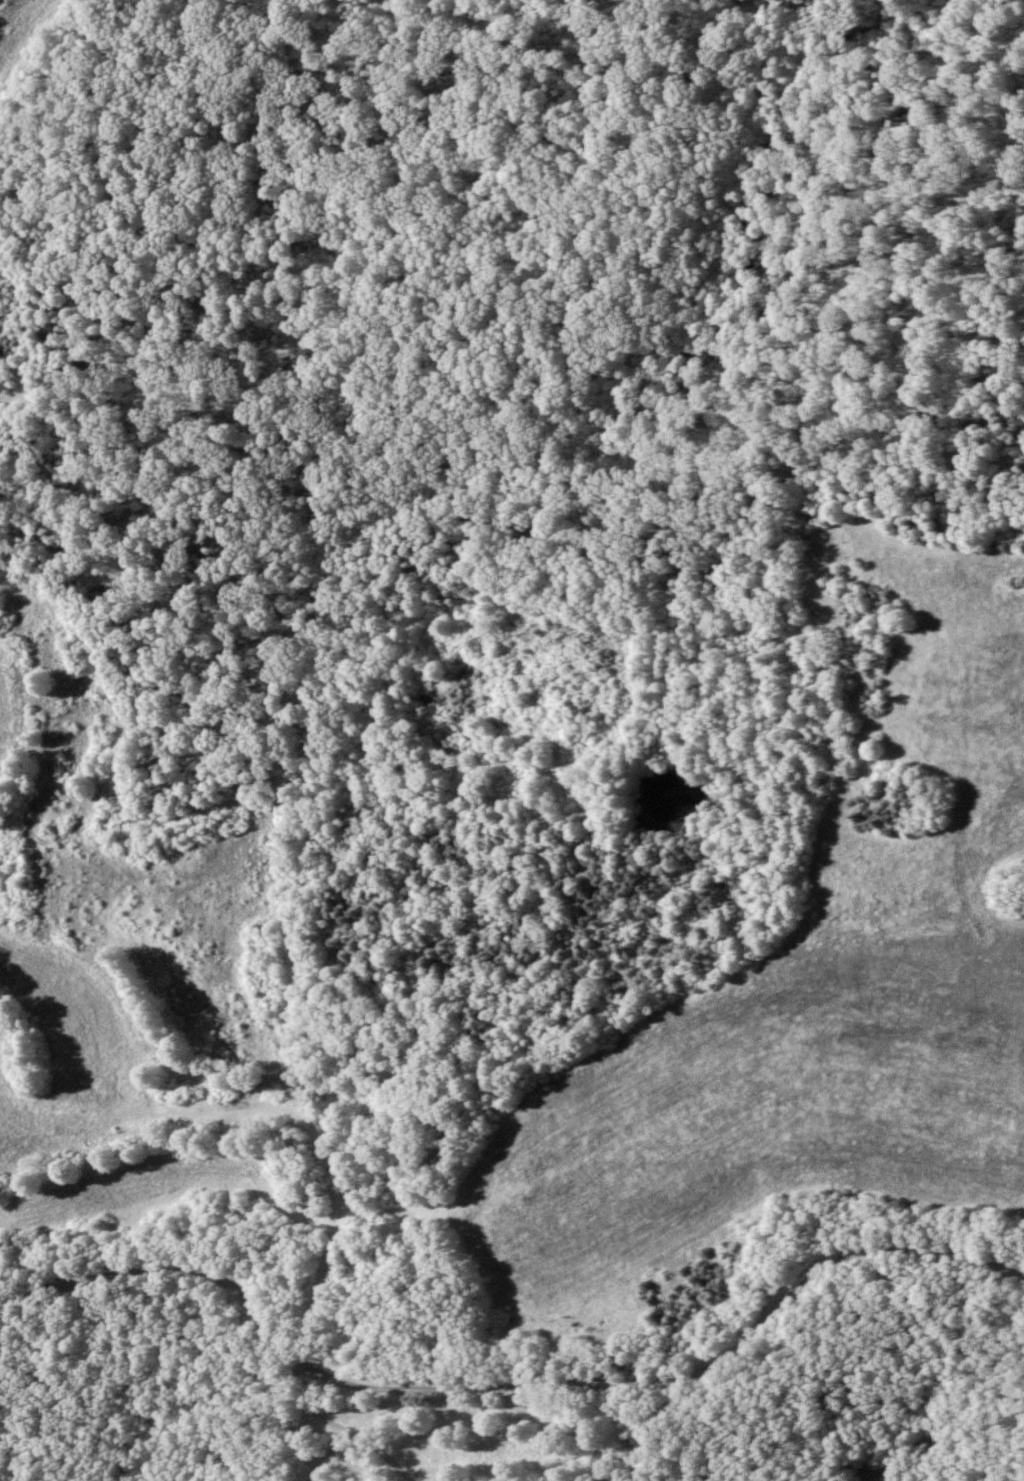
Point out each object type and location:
road: (516, 1382)
road: (342, 1429)

